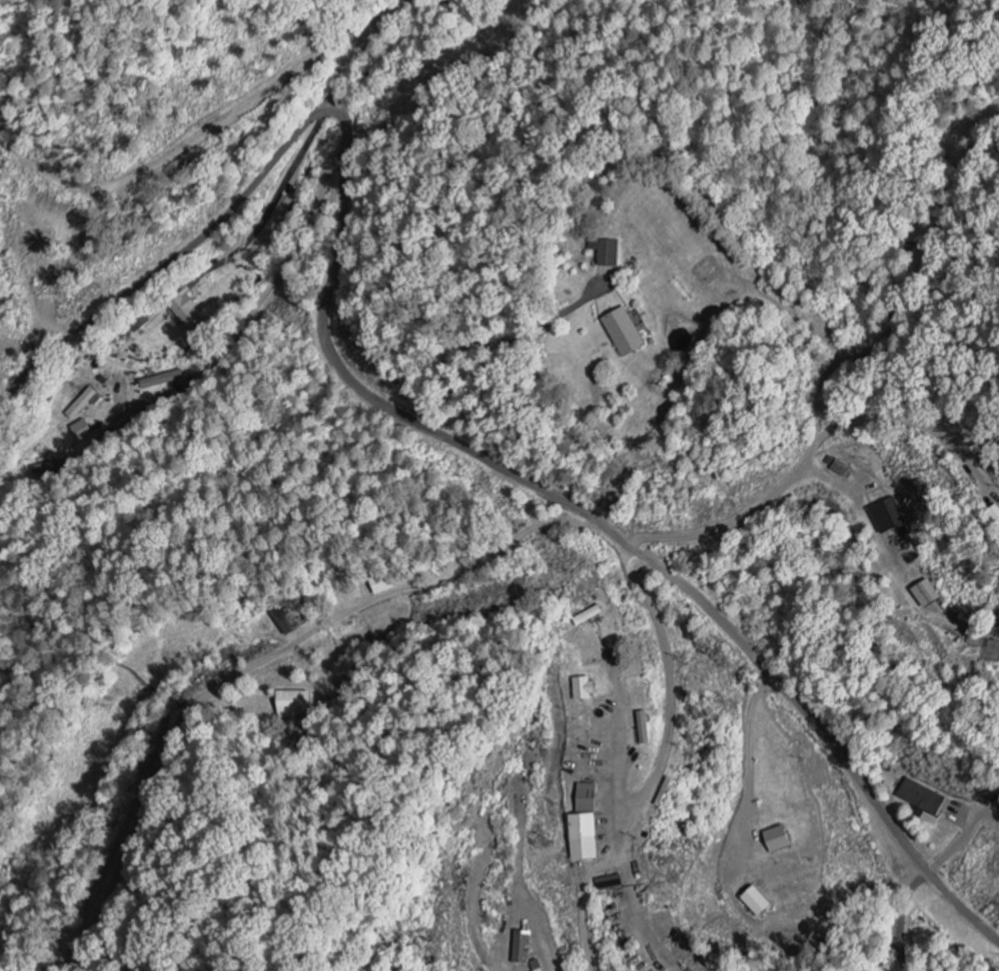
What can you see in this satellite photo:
road: (344, 106)
road: (224, 220)
building: (609, 252)
building: (190, 316)
building: (627, 333)
building: (85, 402)
building: (844, 469)
building: (889, 517)
road: (609, 531)
building: (927, 594)
building: (590, 616)
building: (292, 620)
building: (588, 689)
building: (296, 704)
building: (647, 728)
building: (589, 798)
building: (925, 798)
road: (962, 835)
building: (587, 837)
building: (782, 840)
building: (761, 903)
building: (526, 948)
building: (541, 966)

